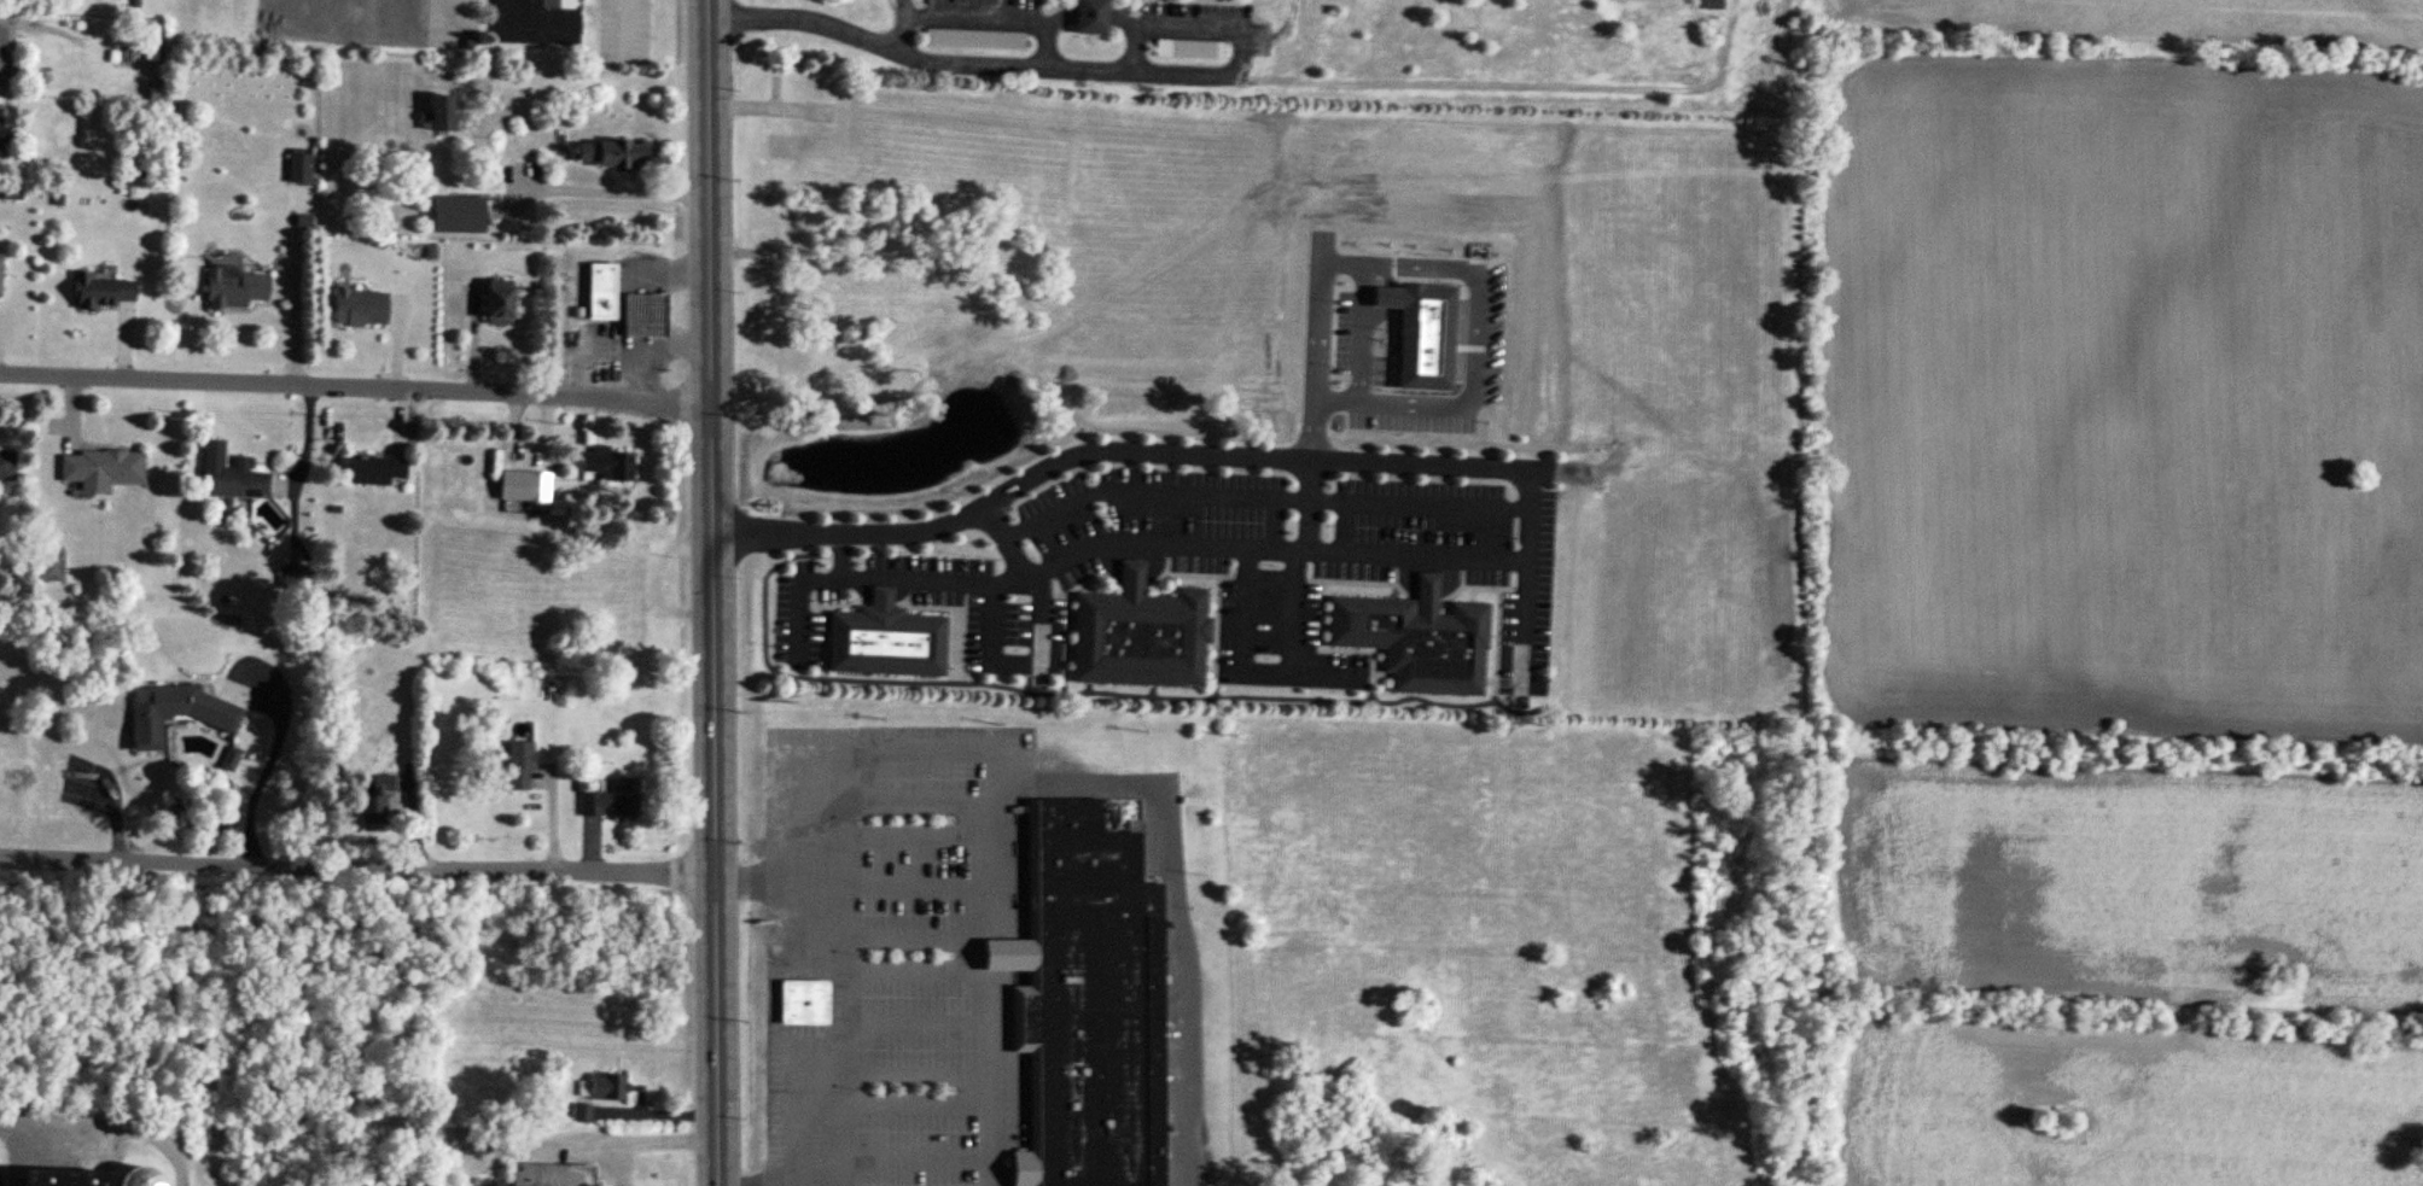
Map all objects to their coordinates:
building: (1713, 5)
road: (835, 10)
road: (450, 13)
building: (1090, 17)
road: (622, 19)
building: (538, 22)
road: (1021, 23)
road: (1113, 25)
building: (631, 30)
road: (947, 42)
building: (1189, 49)
road: (1202, 53)
building: (0, 58)
building: (514, 99)
building: (442, 115)
building: (0, 138)
building: (610, 156)
building: (301, 168)
road: (593, 170)
building: (459, 216)
building: (0, 273)
building: (234, 288)
building: (100, 291)
building: (602, 292)
building: (497, 300)
building: (360, 308)
building: (643, 315)
road: (357, 386)
road: (1147, 450)
building: (7, 465)
building: (610, 465)
building: (100, 467)
building: (372, 469)
building: (229, 474)
building: (524, 485)
road: (1262, 497)
road: (1123, 543)
road: (1295, 565)
road: (1527, 579)
road: (715, 592)
road: (1039, 635)
building: (1141, 636)
building: (1417, 639)
building: (885, 641)
road: (1245, 668)
building: (175, 713)
road: (270, 766)
building: (519, 766)
building: (613, 800)
building: (372, 810)
road: (359, 860)
road: (829, 995)
building: (804, 1004)
building: (1089, 1005)
road: (980, 1062)
building: (607, 1087)
building: (581, 1114)
building: (546, 1175)
building: (138, 1178)
building: (59, 1179)

